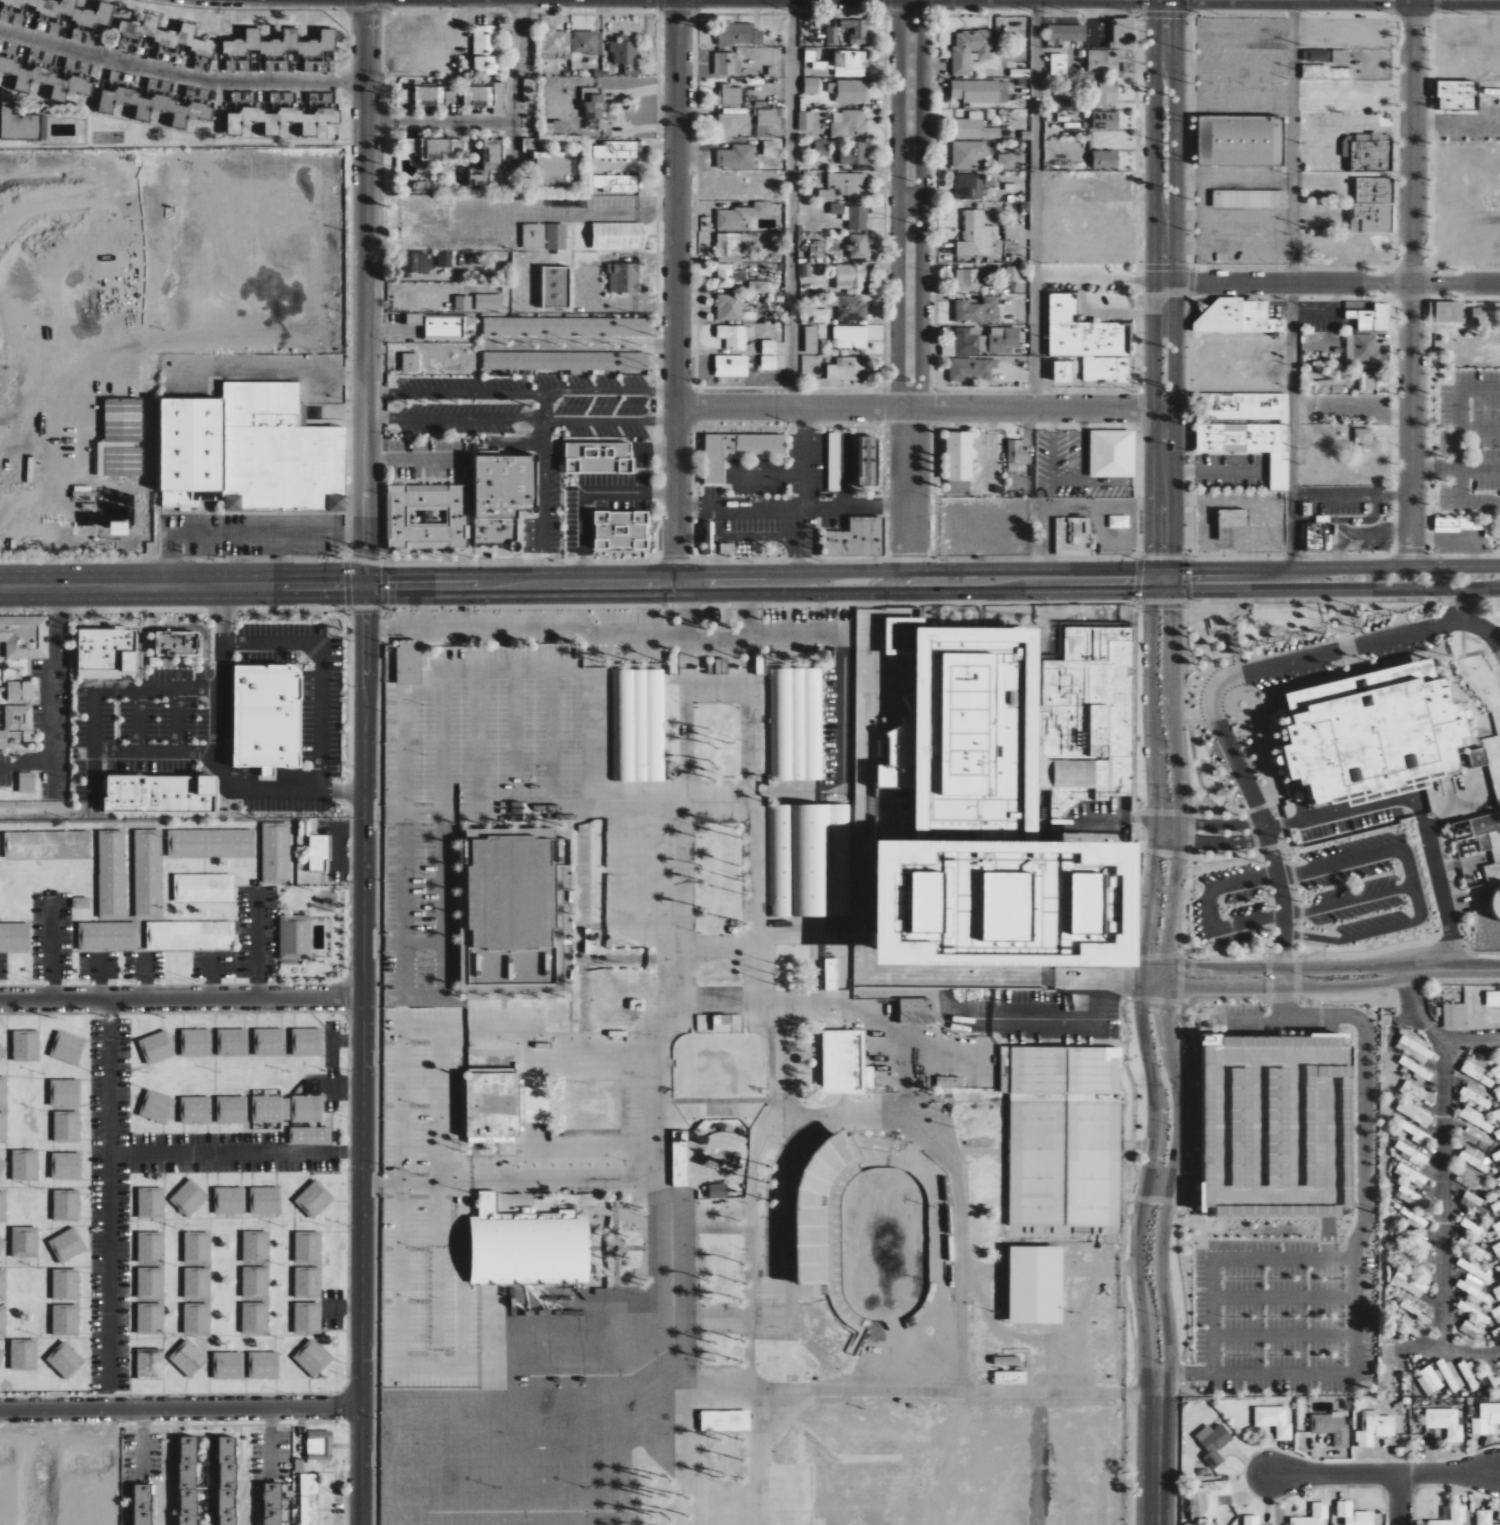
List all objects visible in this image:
building: (54, 16)
building: (858, 30)
building: (1065, 33)
building: (1124, 33)
building: (164, 34)
building: (739, 34)
building: (833, 35)
building: (587, 42)
building: (555, 44)
building: (126, 46)
building: (8, 48)
building: (485, 49)
building: (280, 50)
building: (970, 50)
building: (624, 52)
building: (165, 56)
building: (1340, 56)
building: (1108, 61)
building: (850, 63)
building: (727, 64)
building: (1058, 64)
road: (179, 74)
building: (49, 75)
building: (609, 82)
building: (811, 85)
building: (529, 90)
building: (850, 90)
building: (980, 91)
building: (1107, 93)
building: (730, 94)
building: (1458, 95)
building: (242, 96)
building: (425, 96)
building: (282, 97)
building: (485, 97)
building: (157, 105)
building: (593, 109)
building: (766, 117)
building: (281, 119)
building: (805, 121)
building: (1106, 121)
road: (496, 122)
building: (20, 124)
building: (730, 124)
building: (849, 124)
building: (555, 127)
building: (974, 127)
building: (1240, 140)
building: (529, 144)
building: (770, 148)
building: (822, 148)
building: (617, 150)
building: (1368, 152)
building: (856, 154)
building: (968, 155)
building: (736, 156)
road: (1165, 157)
building: (1105, 159)
building: (1006, 161)
building: (486, 163)
building: (551, 166)
building: (847, 182)
building: (617, 183)
building: (970, 187)
building: (171, 191)
building: (826, 195)
building: (1249, 199)
road: (790, 203)
building: (1373, 205)
road: (569, 213)
building: (851, 215)
building: (741, 216)
building: (1012, 232)
building: (975, 235)
building: (533, 236)
building: (618, 236)
building: (556, 237)
building: (732, 244)
building: (858, 246)
building: (444, 260)
building: (414, 263)
building: (1013, 274)
building: (725, 275)
building: (851, 276)
road: (365, 278)
building: (624, 278)
road: (1101, 278)
building: (967, 280)
road: (1332, 282)
road: (595, 283)
road: (1409, 283)
road: (1289, 284)
road: (908, 285)
road: (1039, 285)
building: (555, 286)
road: (674, 286)
building: (762, 287)
building: (487, 300)
building: (730, 307)
building: (851, 309)
building: (978, 310)
building: (1446, 312)
road: (1106, 314)
building: (821, 315)
building: (1479, 315)
building: (1222, 316)
building: (1372, 318)
building: (414, 319)
building: (565, 326)
building: (445, 328)
building: (735, 336)
building: (850, 337)
road: (208, 339)
building: (811, 340)
building: (1089, 340)
building: (970, 341)
building: (769, 347)
building: (1356, 347)
building: (565, 361)
building: (410, 362)
building: (769, 363)
building: (731, 365)
building: (846, 369)
building: (972, 370)
building: (1367, 381)
building: (1331, 386)
road: (520, 390)
road: (924, 407)
road: (520, 419)
building: (122, 420)
building: (1246, 428)
road: (1462, 431)
road: (1153, 432)
road: (1173, 432)
building: (1366, 441)
building: (736, 451)
building: (249, 452)
building: (1112, 453)
building: (1016, 454)
road: (416, 458)
building: (598, 458)
building: (867, 461)
building: (834, 462)
building: (958, 463)
building: (12, 465)
road: (1436, 468)
road: (543, 469)
road: (588, 490)
building: (82, 491)
building: (500, 493)
road: (740, 505)
road: (808, 505)
building: (127, 517)
building: (427, 518)
building: (1119, 522)
building: (1230, 522)
building: (1461, 524)
building: (115, 528)
building: (620, 530)
building: (1318, 536)
road: (795, 538)
building: (856, 539)
traffic signals: (1154, 555)
traffic signals: (366, 558)
road: (171, 566)
road: (366, 567)
road: (1344, 568)
traffic signals: (1189, 569)
road: (1163, 570)
road: (762, 572)
road: (172, 576)
road: (355, 576)
road: (377, 576)
traffic signals: (388, 576)
road: (949, 582)
road: (1152, 582)
road: (1175, 582)
road: (366, 587)
road: (1325, 590)
road: (1479, 590)
traffic signals: (1134, 592)
road: (1162, 592)
road: (760, 595)
road: (172, 598)
traffic signals: (344, 598)
road: (355, 598)
road: (376, 598)
road: (366, 606)
road: (1454, 606)
traffic signals: (1176, 610)
traffic signals: (366, 614)
road: (366, 621)
road: (171, 627)
road: (485, 627)
road: (1479, 628)
building: (25, 637)
road: (644, 639)
road: (702, 639)
building: (174, 642)
building: (106, 653)
building: (408, 662)
building: (721, 667)
road: (320, 669)
road: (871, 669)
road: (592, 670)
road: (53, 688)
building: (21, 691)
road: (97, 691)
building: (1088, 716)
road: (1151, 717)
road: (1216, 717)
building: (266, 718)
road: (137, 721)
road: (176, 721)
building: (17, 723)
building: (797, 724)
building: (970, 724)
building: (639, 725)
building: (1367, 734)
road: (405, 735)
road: (482, 741)
road: (518, 741)
road: (554, 742)
road: (220, 751)
road: (156, 753)
building: (1478, 758)
building: (893, 762)
road: (25, 763)
building: (26, 782)
building: (159, 793)
building: (1028, 811)
road: (416, 813)
road: (435, 813)
road: (1208, 824)
building: (1478, 830)
building: (211, 843)
road: (1209, 843)
building: (47, 845)
building: (318, 852)
building: (276, 853)
building: (806, 861)
building: (112, 873)
building: (148, 873)
road: (404, 878)
building: (204, 888)
building: (942, 893)
road: (1210, 895)
road: (1443, 899)
building: (81, 903)
building: (1496, 904)
building: (920, 906)
building: (1080, 907)
building: (1001, 910)
building: (1124, 916)
building: (941, 927)
road: (1368, 934)
building: (190, 935)
building: (15, 937)
building: (108, 937)
building: (295, 937)
road: (256, 943)
road: (50, 945)
building: (896, 952)
building: (1002, 964)
road: (443, 974)
building: (831, 975)
road: (1319, 976)
road: (1163, 995)
building: (1493, 997)
road: (181, 999)
road: (1433, 1033)
building: (307, 1041)
building: (196, 1042)
building: (232, 1042)
building: (269, 1042)
building: (26, 1046)
building: (67, 1047)
building: (156, 1047)
building: (1415, 1047)
building: (2, 1052)
building: (845, 1062)
building: (1417, 1070)
road: (362, 1076)
road: (1364, 1082)
building: (3, 1091)
building: (65, 1092)
road: (1156, 1102)
building: (1483, 1102)
building: (492, 1104)
building: (535, 1104)
building: (156, 1107)
building: (307, 1108)
building: (195, 1109)
building: (232, 1109)
building: (270, 1111)
building: (1414, 1113)
building: (1497, 1115)
building: (1475, 1118)
building: (1309, 1123)
building: (3, 1126)
building: (67, 1126)
building: (1237, 1126)
building: (1278, 1132)
building: (1416, 1133)
building: (1497, 1134)
building: (310, 1135)
building: (1064, 1135)
road: (236, 1153)
building: (1496, 1156)
building: (680, 1157)
building: (1414, 1157)
building: (2, 1164)
building: (25, 1165)
building: (66, 1165)
building: (1411, 1174)
building: (1314, 1176)
road: (439, 1182)
road: (1158, 1185)
road: (420, 1187)
road: (452, 1187)
building: (717, 1190)
building: (189, 1197)
building: (314, 1199)
building: (229, 1200)
building: (265, 1200)
road: (109, 1202)
building: (151, 1202)
building: (816, 1203)
building: (1473, 1203)
building: (66, 1205)
building: (3, 1206)
building: (1413, 1218)
road: (1444, 1221)
building: (1497, 1227)
building: (25, 1241)
building: (1415, 1241)
building: (2, 1243)
building: (67, 1245)
building: (256, 1245)
building: (526, 1245)
building: (151, 1246)
building: (198, 1246)
building: (308, 1246)
building: (1496, 1247)
building: (1482, 1254)
building: (1474, 1269)
road: (464, 1275)
building: (151, 1282)
building: (197, 1282)
building: (256, 1282)
building: (308, 1282)
building: (65, 1284)
building: (1035, 1284)
road: (1352, 1284)
building: (3, 1285)
building: (1475, 1287)
building: (1497, 1291)
road: (1282, 1295)
building: (1413, 1304)
building: (1496, 1313)
building: (255, 1317)
building: (151, 1318)
building: (197, 1318)
building: (308, 1318)
building: (66, 1319)
building: (3, 1320)
building: (1414, 1326)
road: (1282, 1335)
road: (1419, 1349)
building: (24, 1354)
building: (2, 1356)
building: (188, 1358)
building: (312, 1358)
building: (65, 1359)
building: (1007, 1360)
road: (449, 1362)
building: (150, 1363)
building: (228, 1365)
building: (263, 1365)
building: (1010, 1377)
building: (1429, 1381)
road: (1159, 1384)
road: (956, 1392)
road: (179, 1405)
building: (1486, 1419)
building: (725, 1420)
building: (1274, 1420)
building: (1445, 1422)
building: (1330, 1426)
building: (1374, 1428)
building: (1213, 1443)
building: (319, 1446)
road: (1157, 1459)
road: (1381, 1474)
building: (187, 1480)
building: (226, 1480)
building: (1207, 1498)
building: (309, 1499)
road: (1399, 1500)
building: (271, 1503)
building: (141, 1504)
building: (1354, 1514)
building: (1313, 1515)
building: (1452, 1517)
building: (1484, 1517)
building: (1251, 1520)

